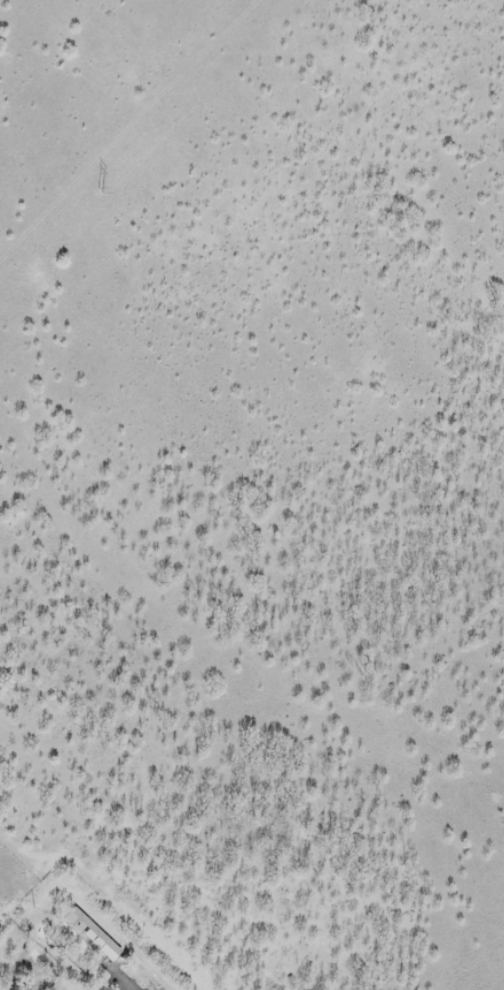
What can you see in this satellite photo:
power tower: (99, 192)
road: (109, 908)

